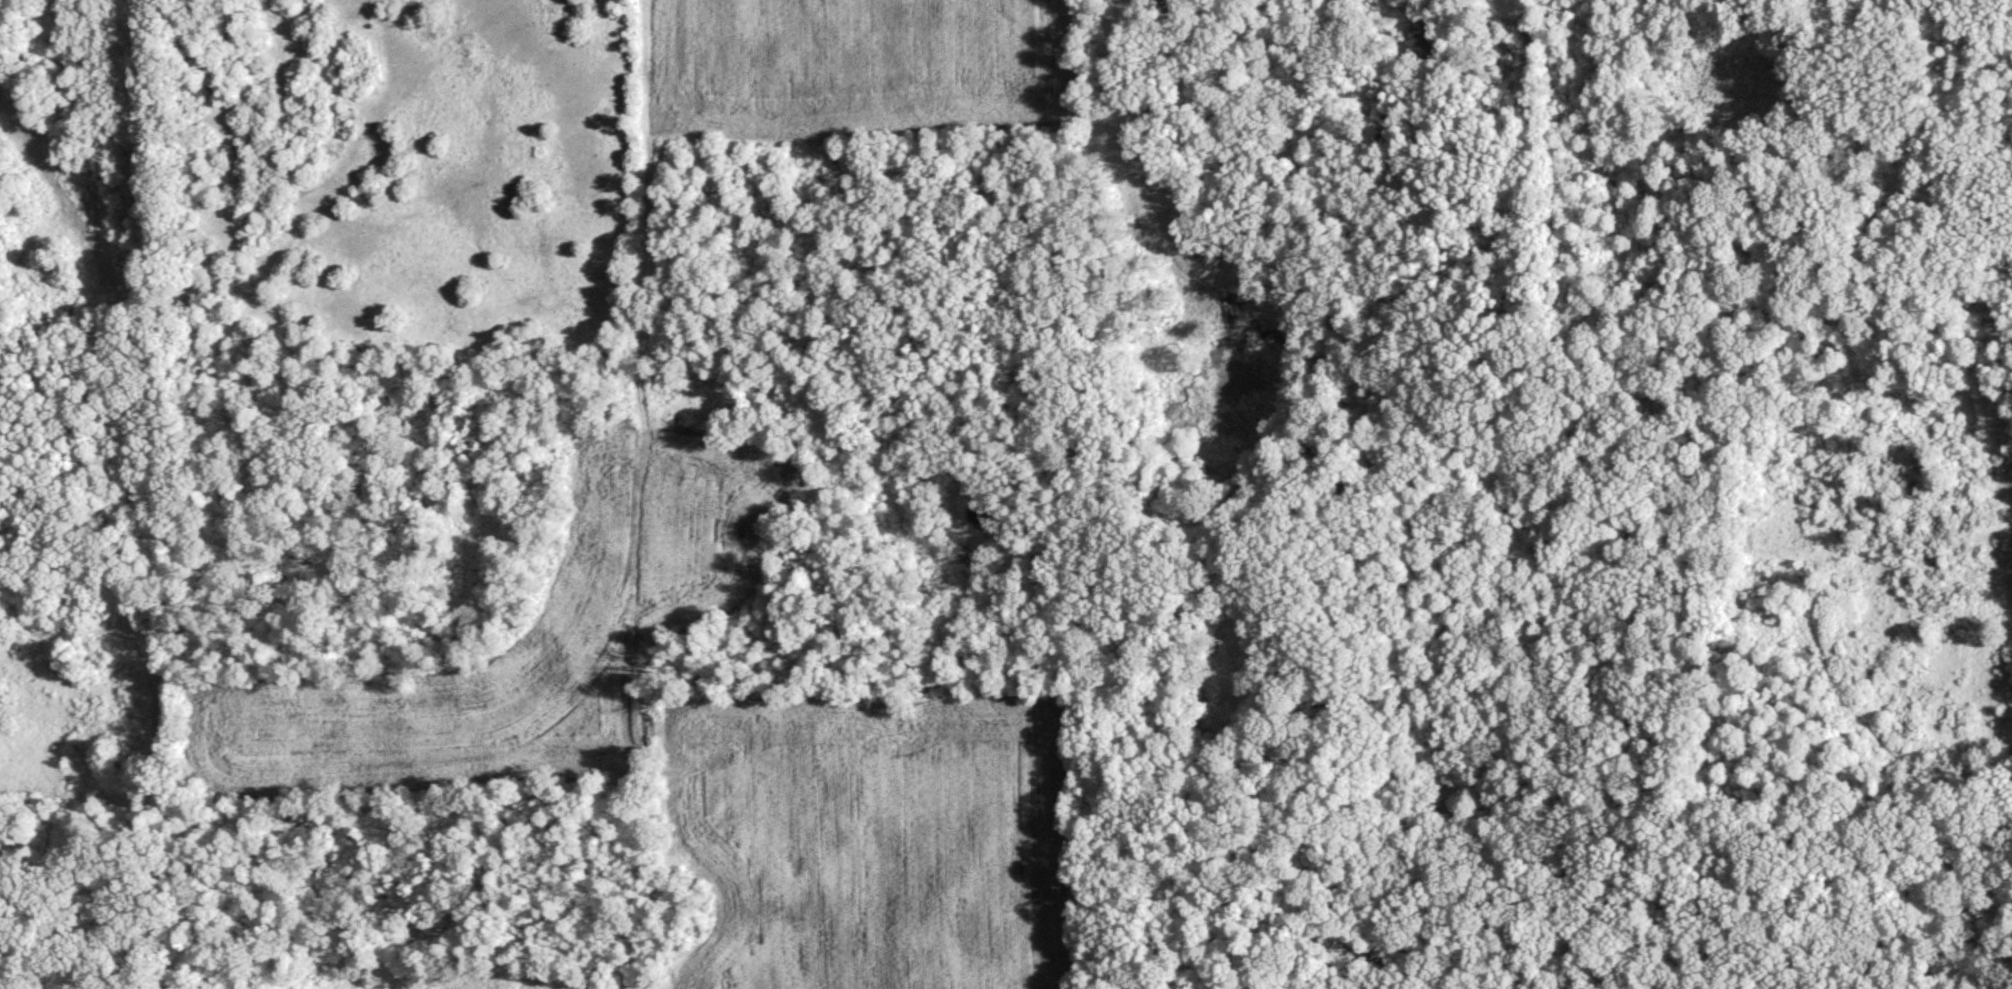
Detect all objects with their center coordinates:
road: (435, 61)
road: (1555, 855)

